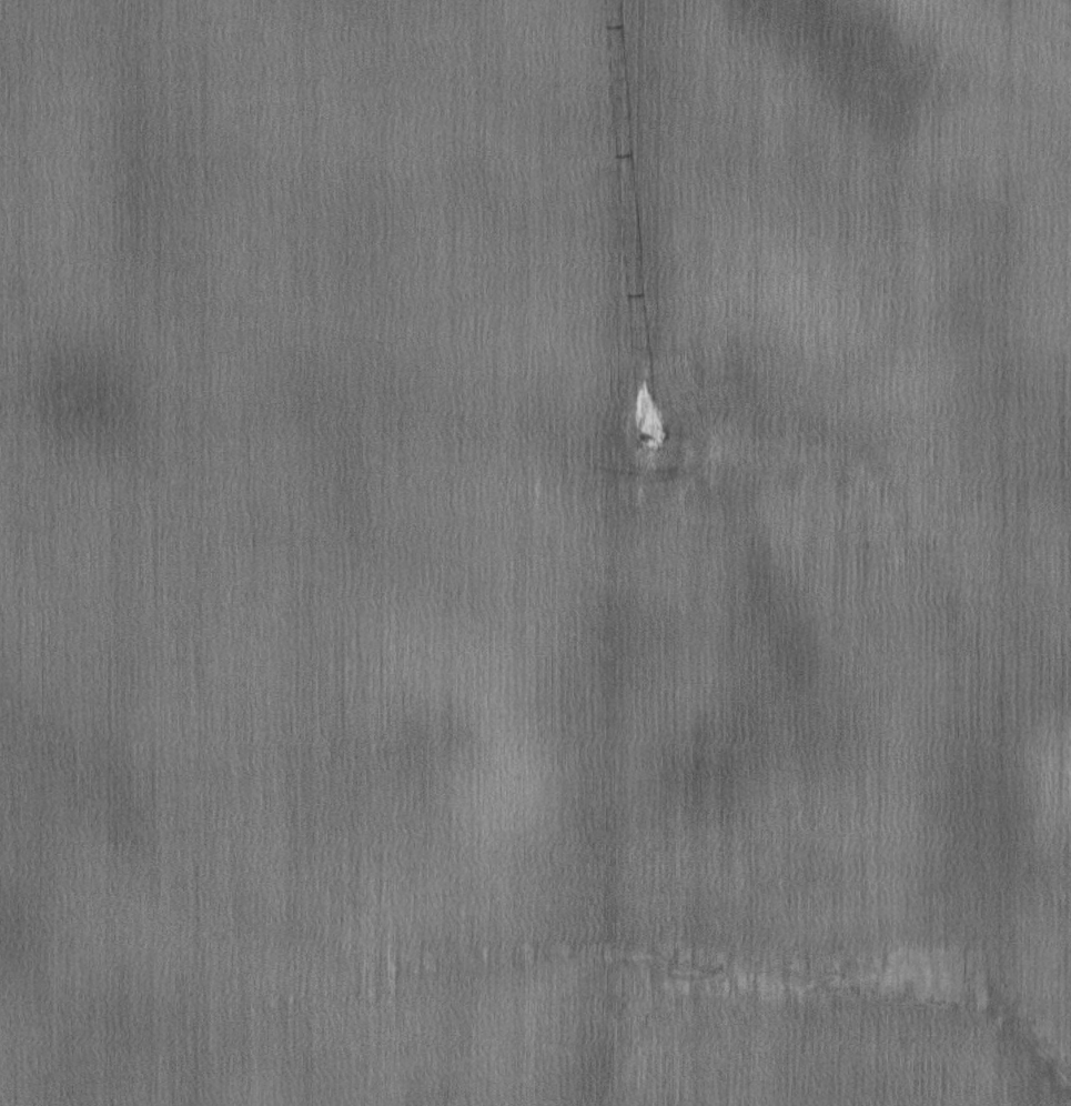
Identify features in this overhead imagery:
crop: (535, 553)

